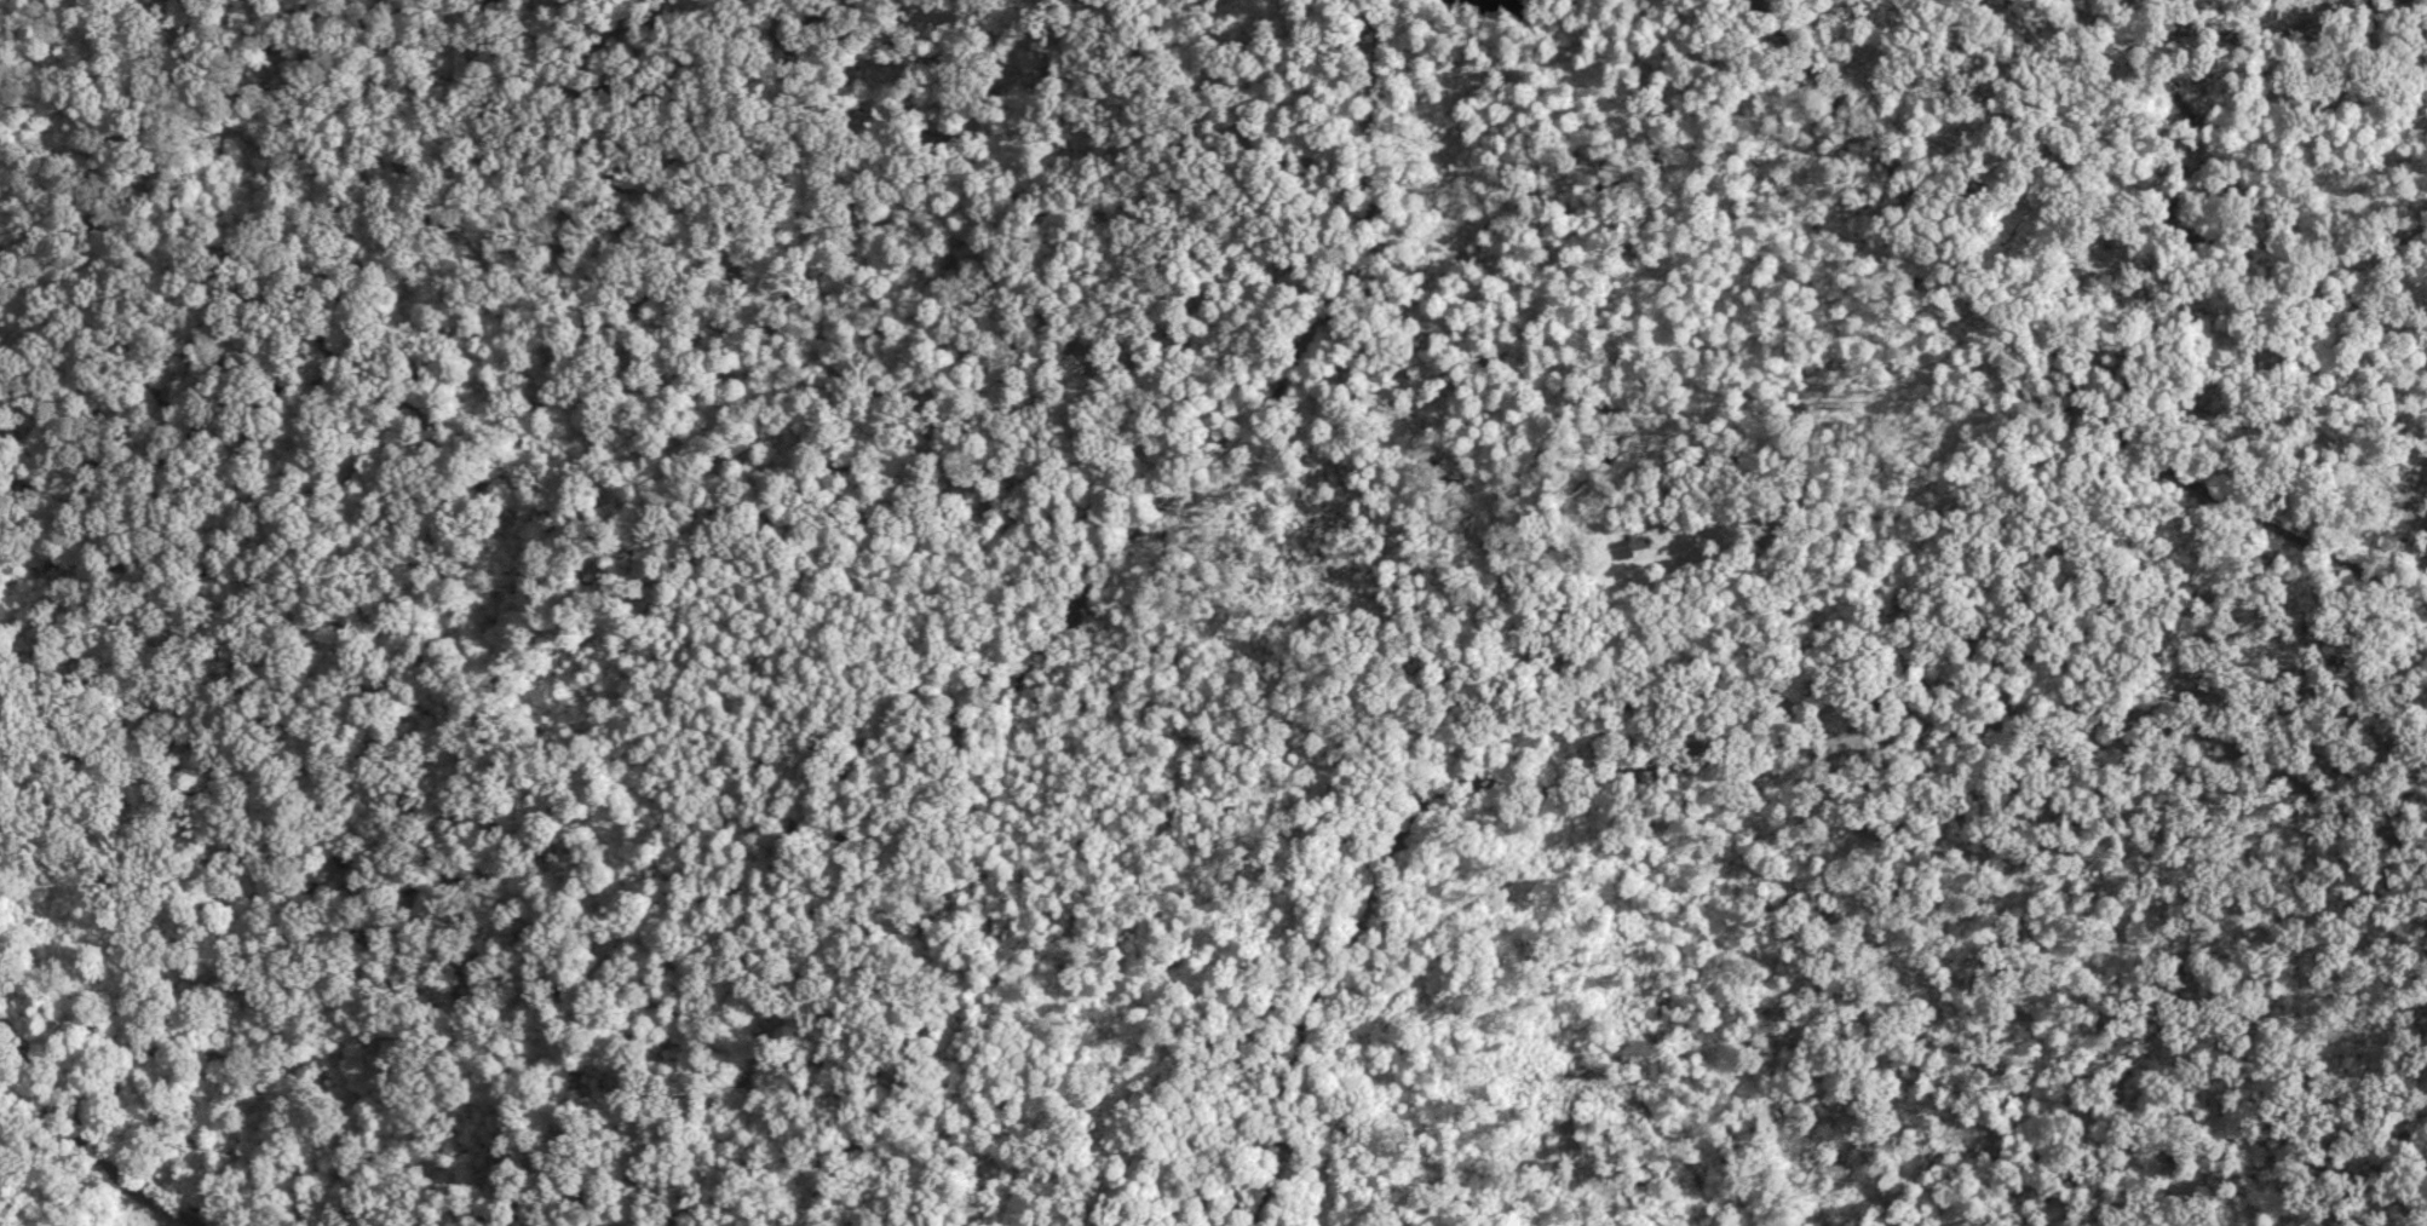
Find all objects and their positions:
road: (2049, 362)
building: (1631, 541)

